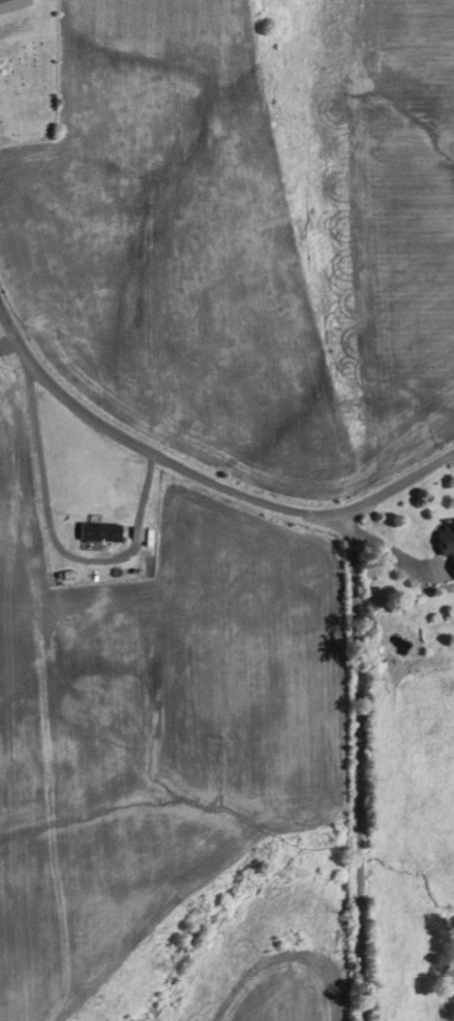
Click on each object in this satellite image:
building: (12, 5)
park: (28, 85)
road: (198, 477)
road: (68, 530)
building: (100, 532)
building: (447, 541)

